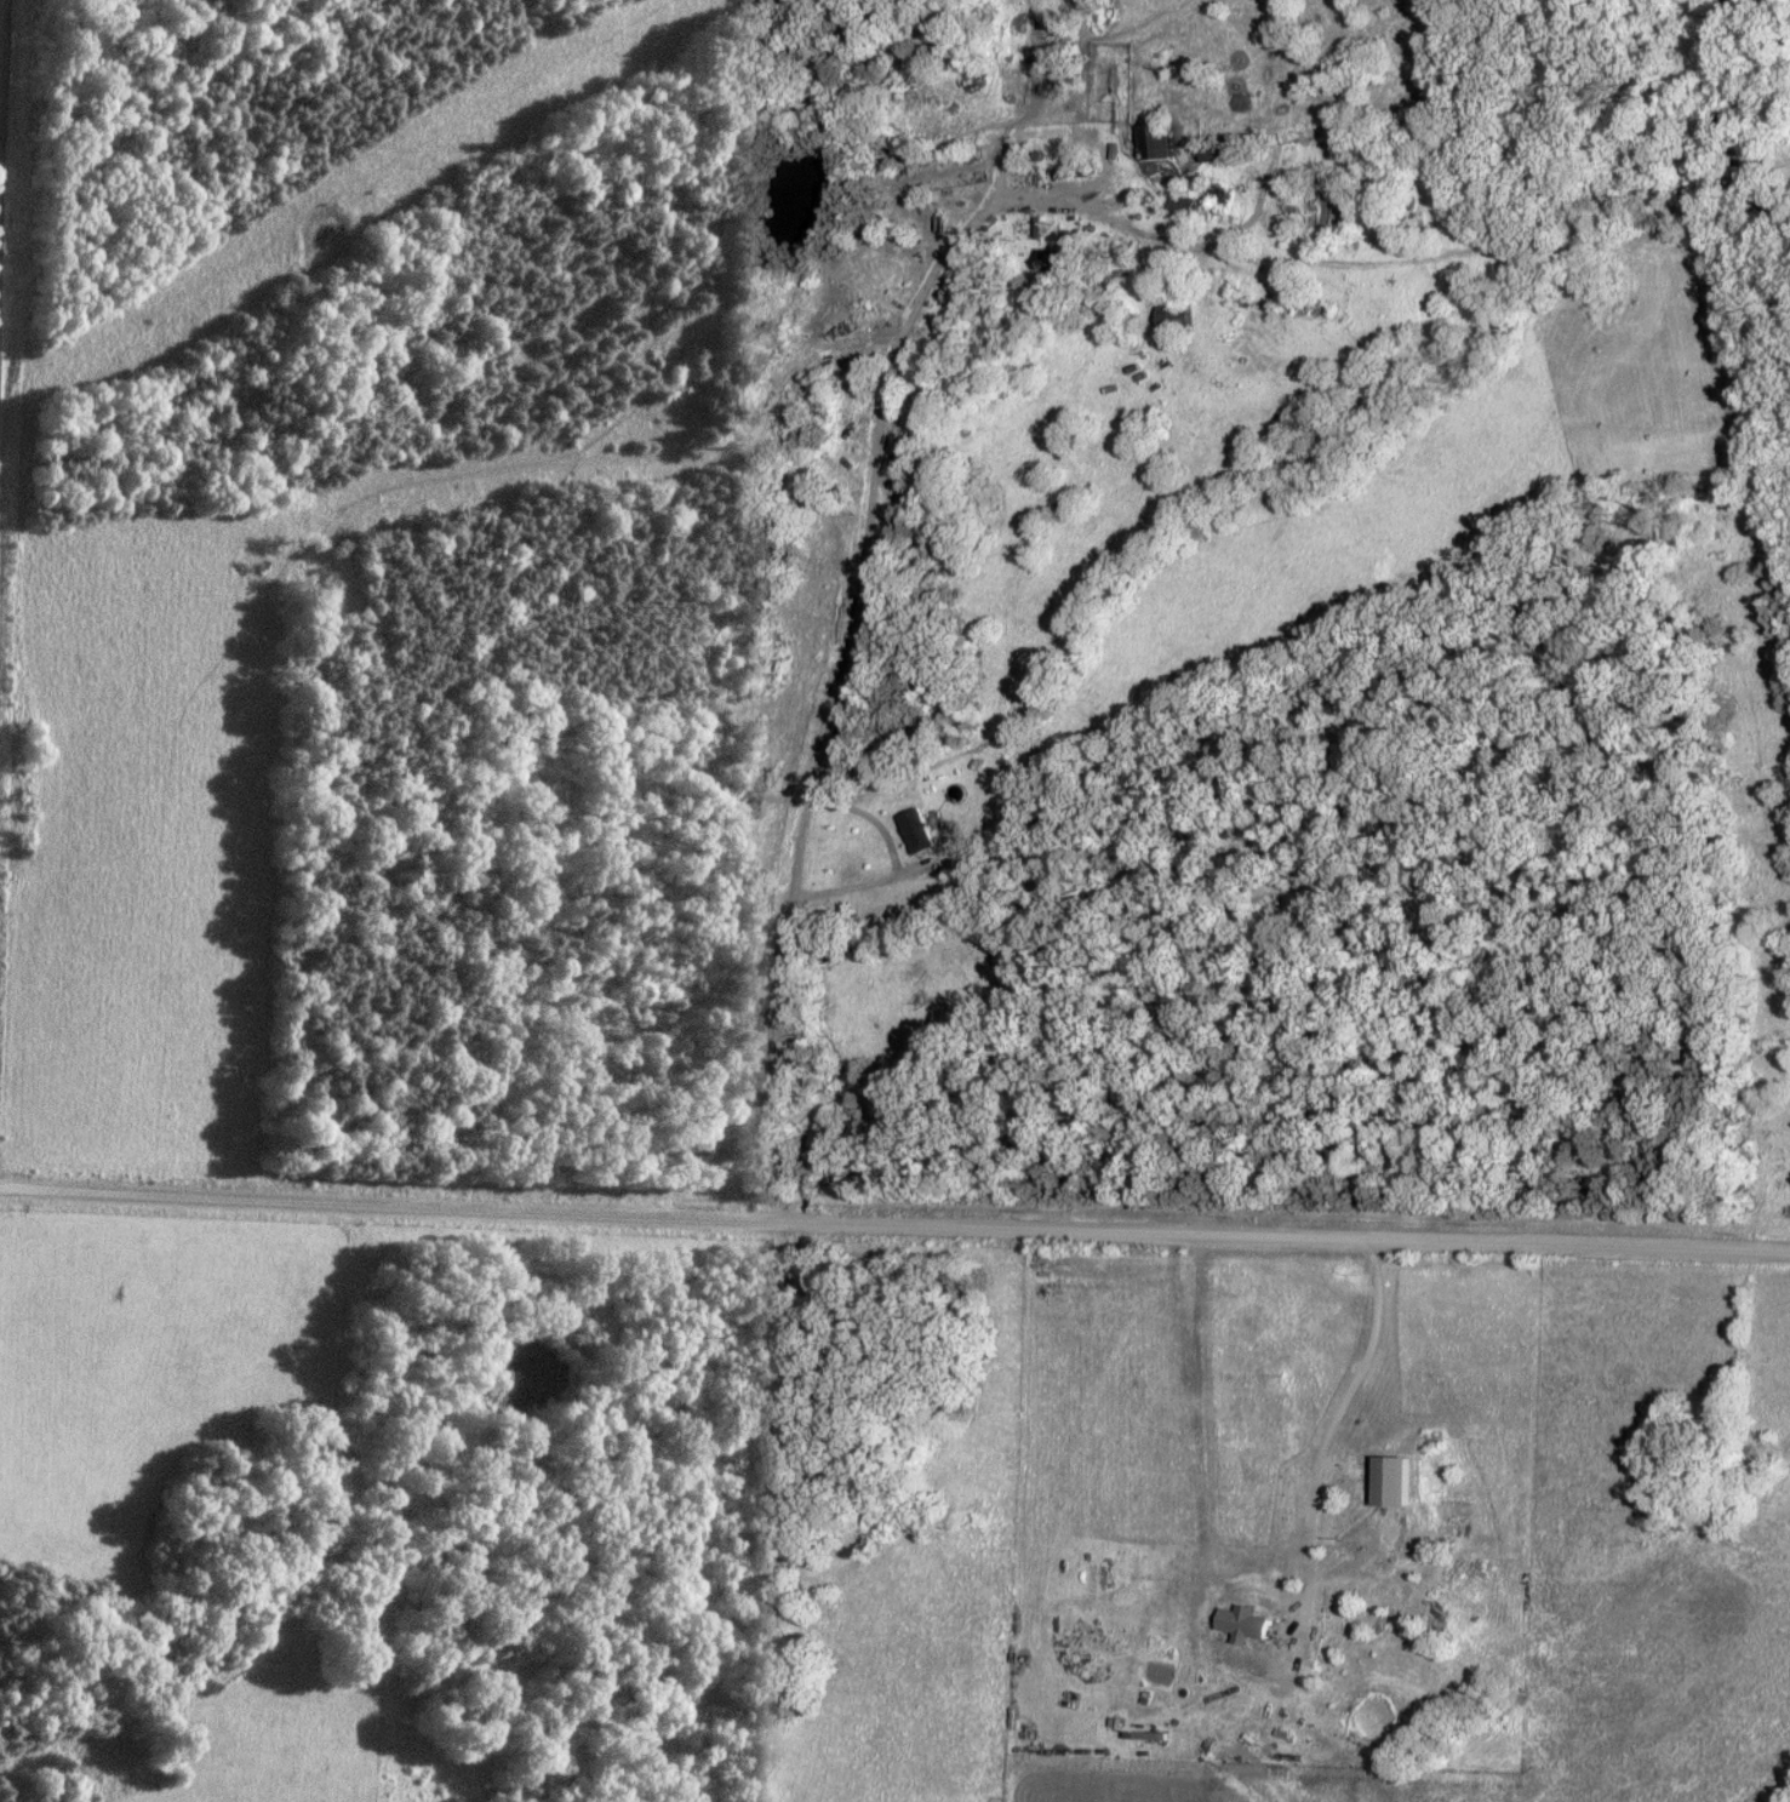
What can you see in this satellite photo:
building: (1149, 143)
building: (1212, 155)
building: (1315, 191)
building: (1222, 195)
road: (7, 200)
building: (1173, 207)
building: (1054, 264)
building: (1168, 320)
road: (850, 659)
road: (894, 1228)
road: (1329, 1415)

